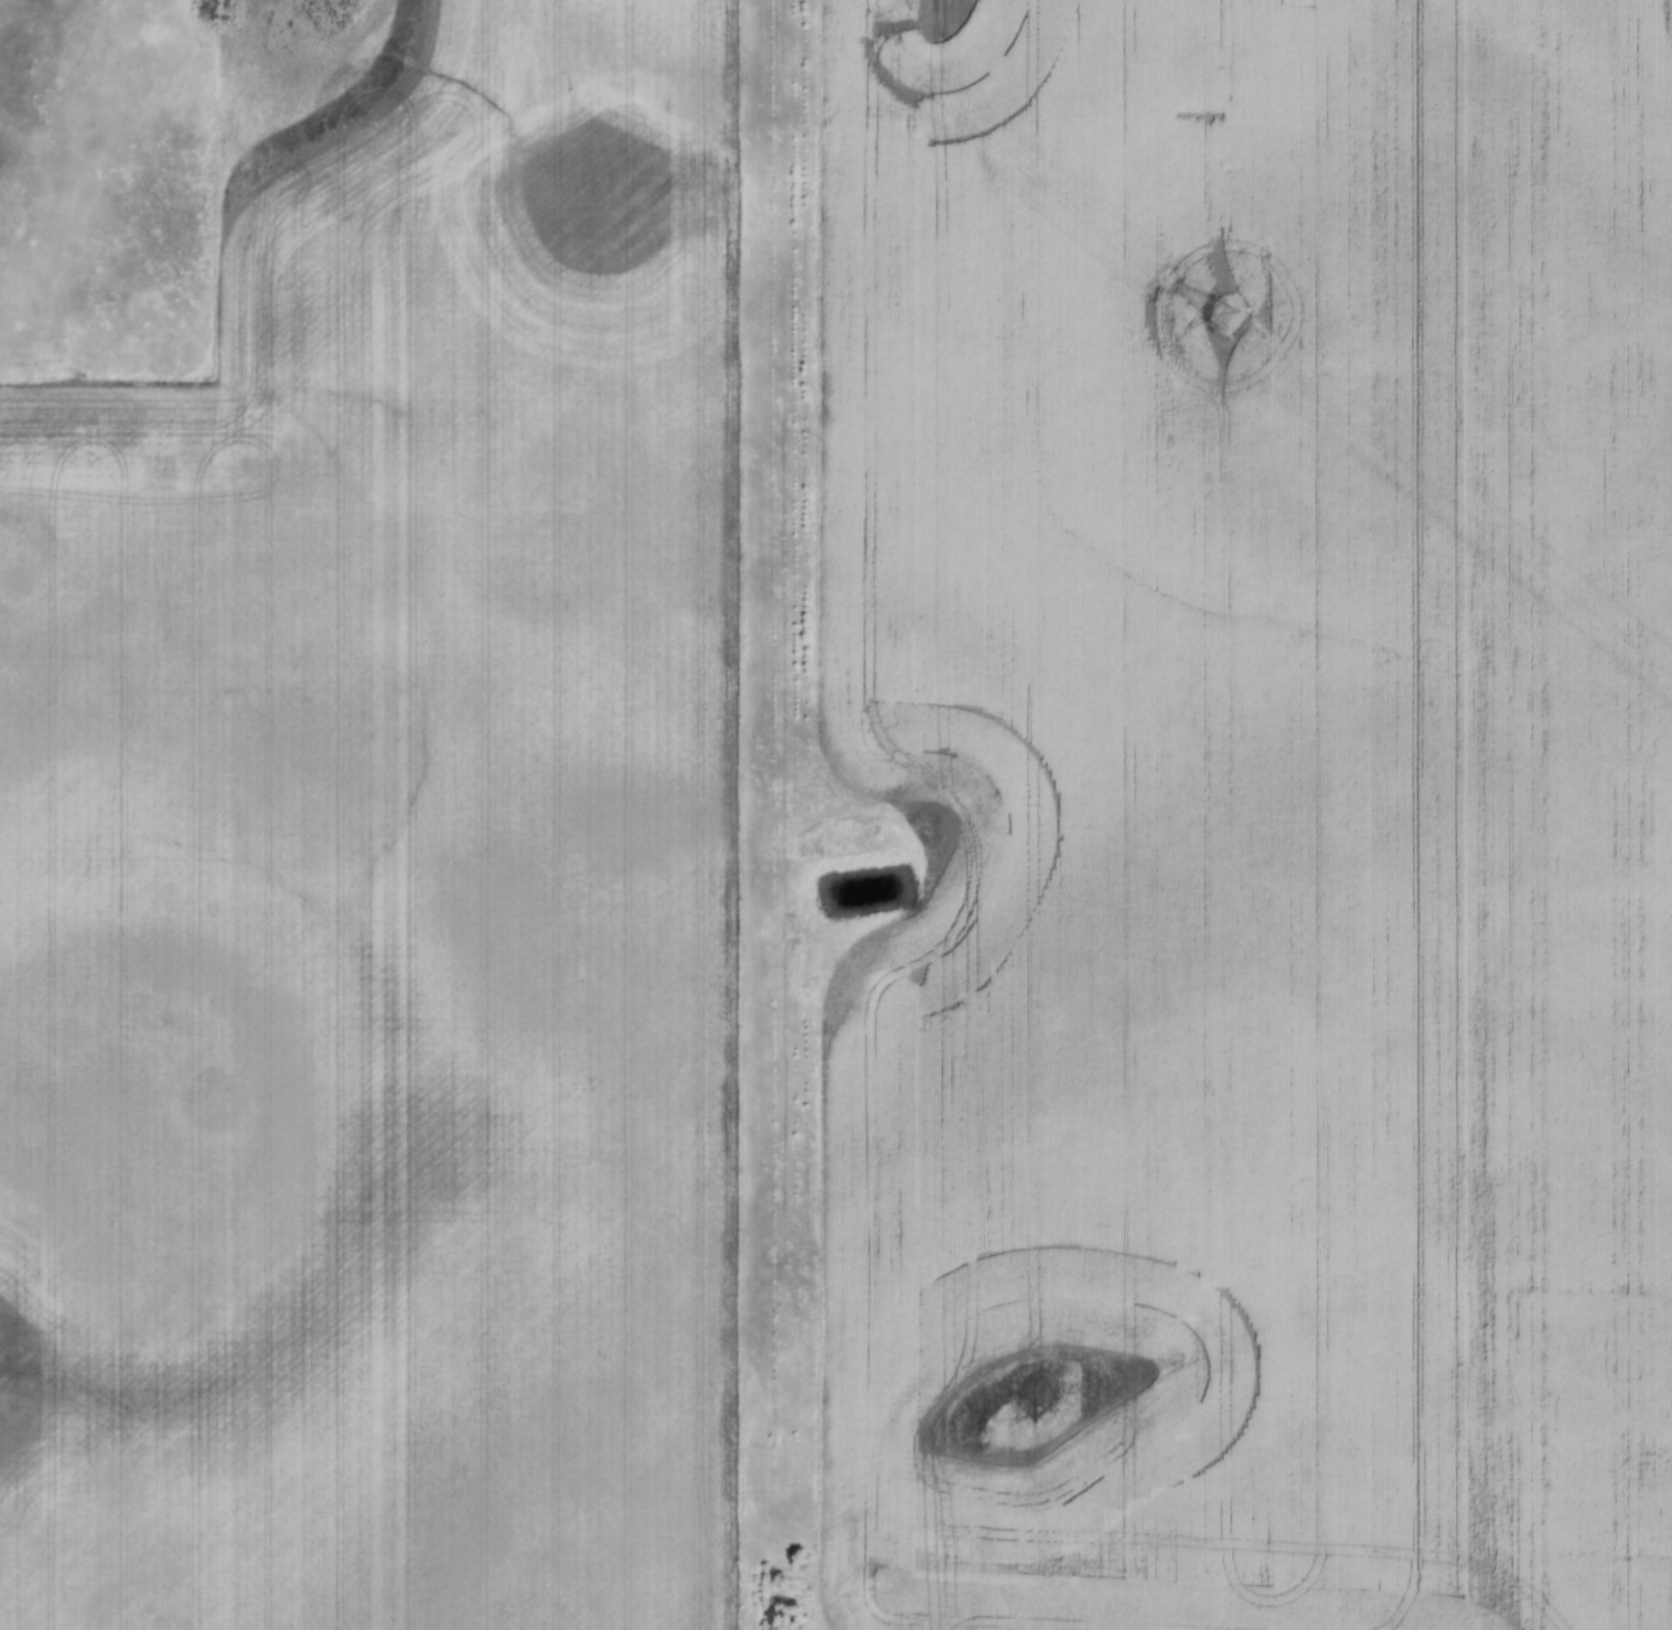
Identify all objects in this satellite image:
power tower: (1221, 318)

